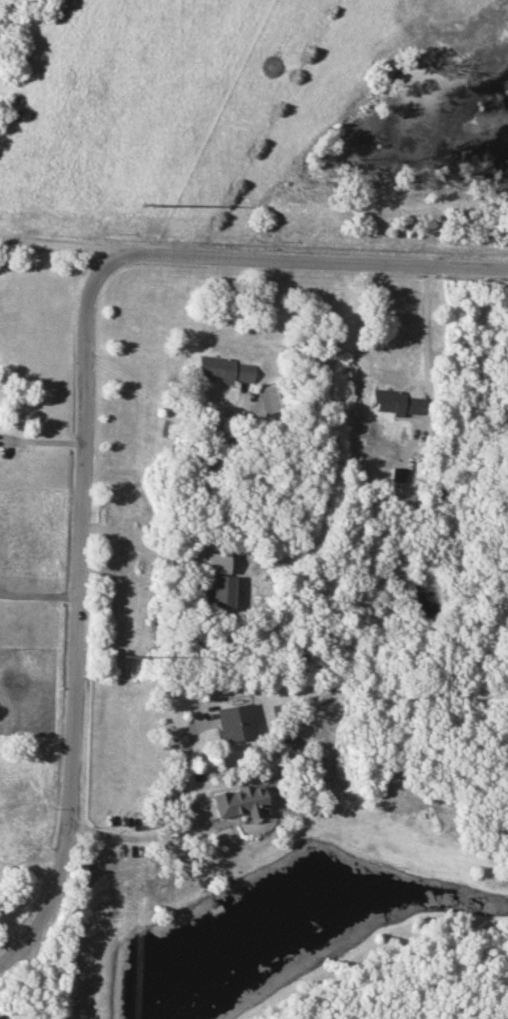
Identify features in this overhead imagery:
power tower: (145, 206)
road: (59, 249)
road: (301, 259)
road: (427, 333)
building: (223, 371)
road: (161, 396)
building: (271, 398)
building: (395, 403)
road: (140, 547)
building: (221, 592)
road: (39, 597)
road: (78, 599)
power tower: (124, 658)
building: (234, 723)
building: (236, 802)
road: (135, 837)
road: (29, 860)
road: (12, 942)
road: (33, 972)

